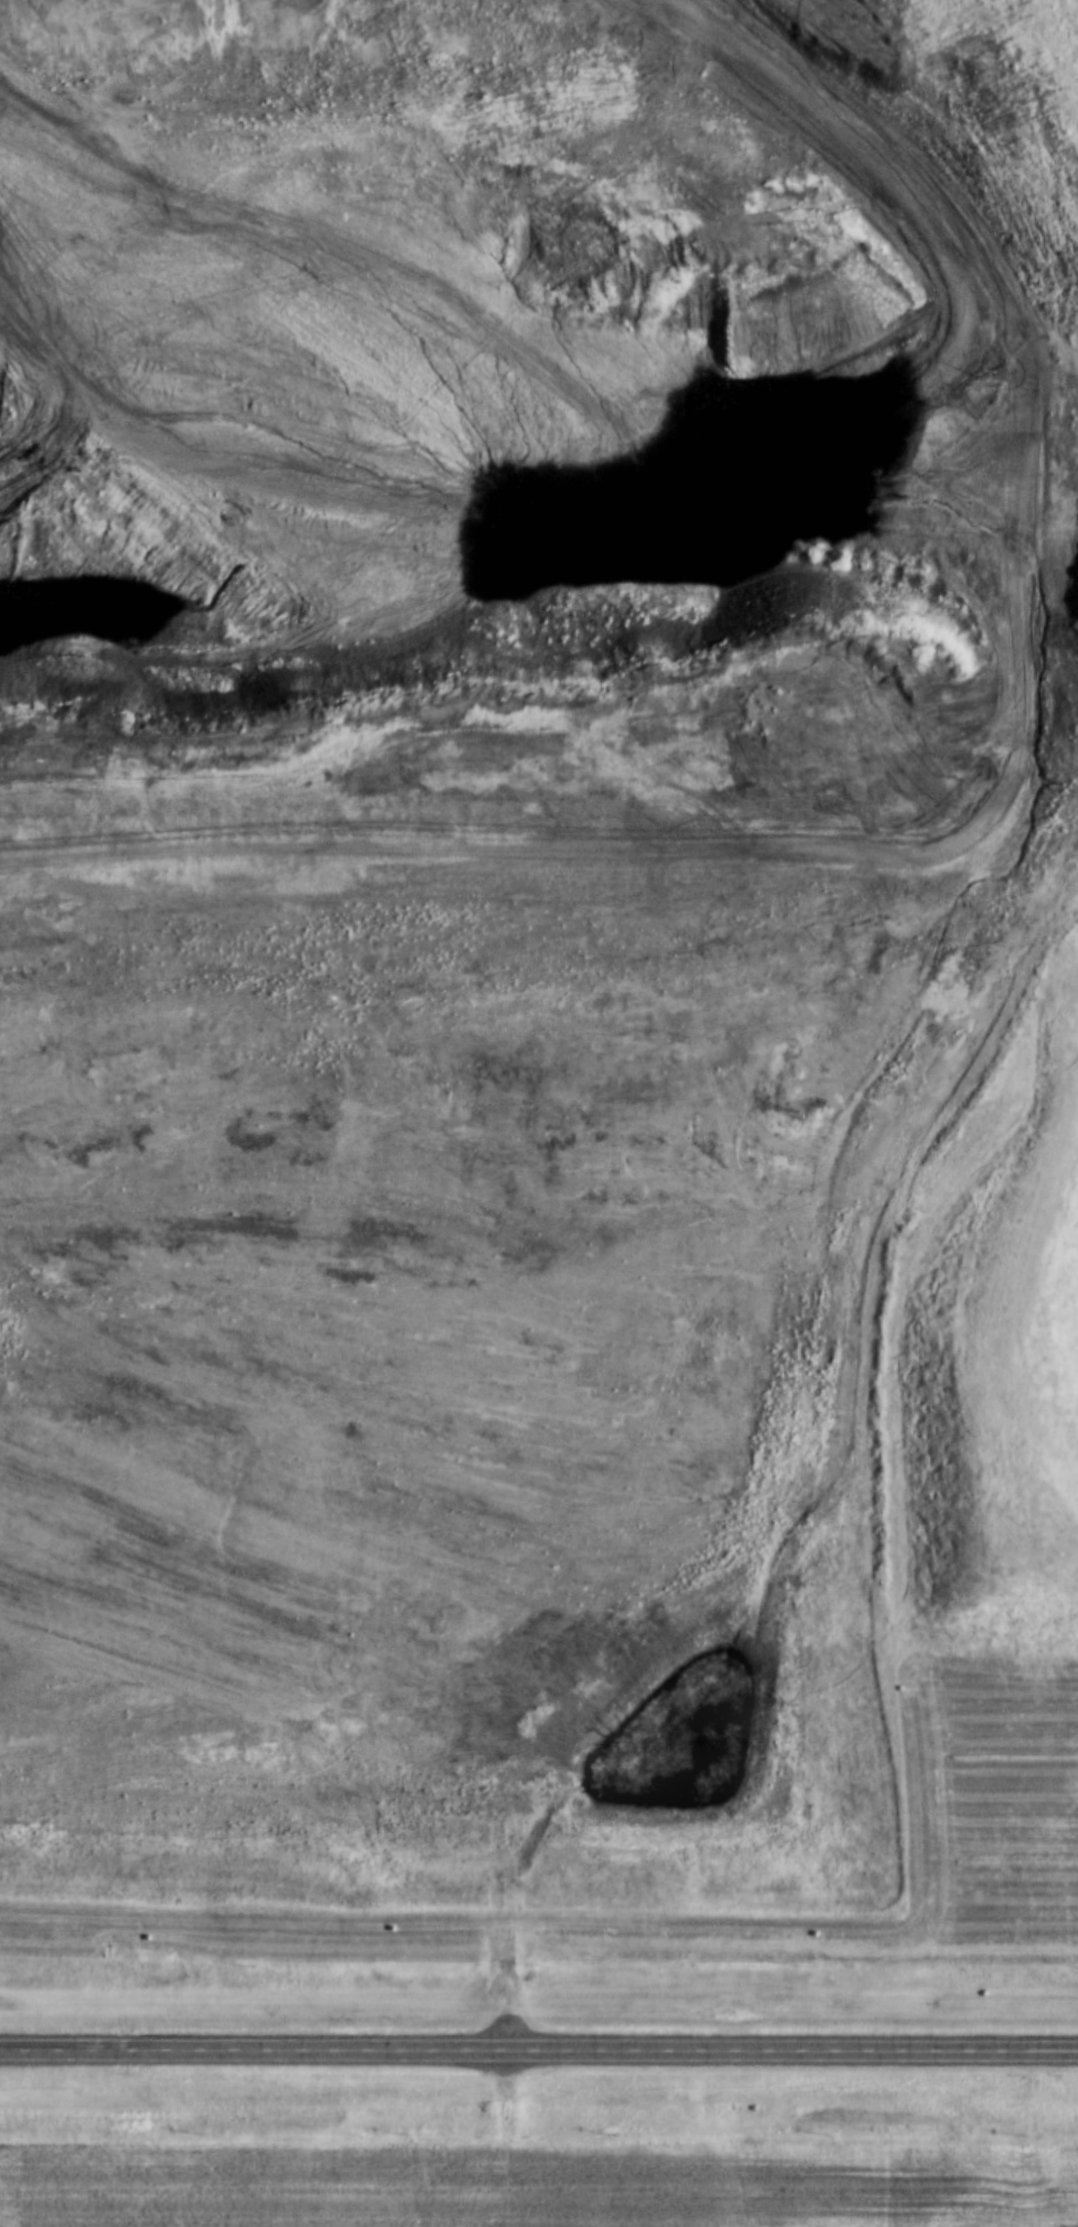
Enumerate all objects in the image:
quarry: (540, 260)
road: (507, 1970)
road: (538, 2050)

